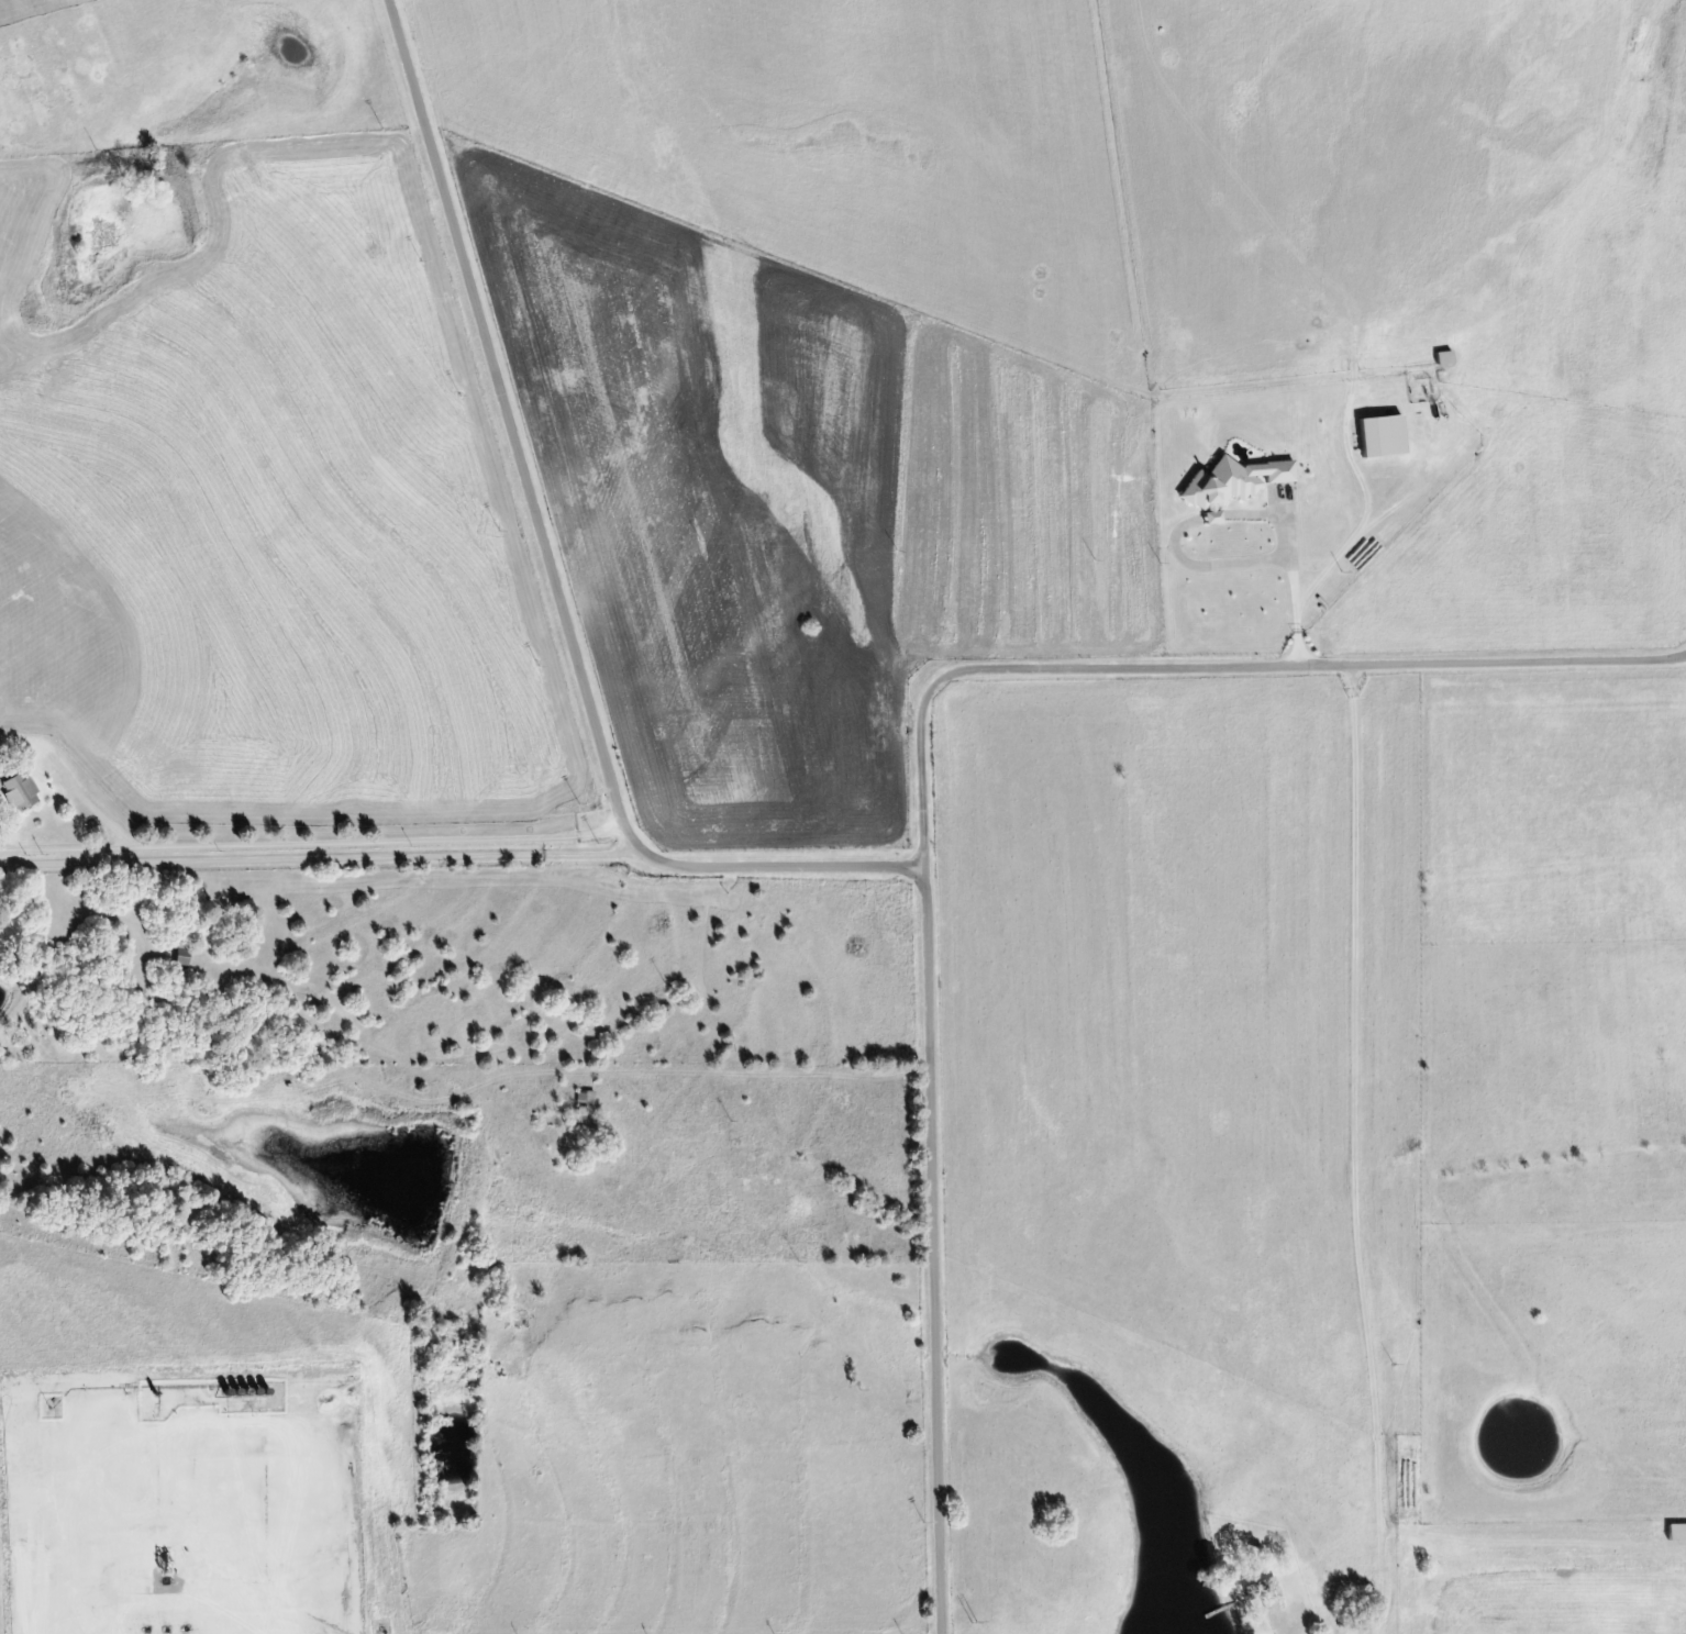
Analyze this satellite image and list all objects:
road: (1555, 399)
building: (1384, 436)
building: (1233, 483)
road: (548, 562)
road: (1212, 659)
road: (1502, 681)
building: (21, 792)
road: (310, 835)
road: (317, 854)
building: (586, 1099)
road: (933, 1248)
building: (1677, 1533)

